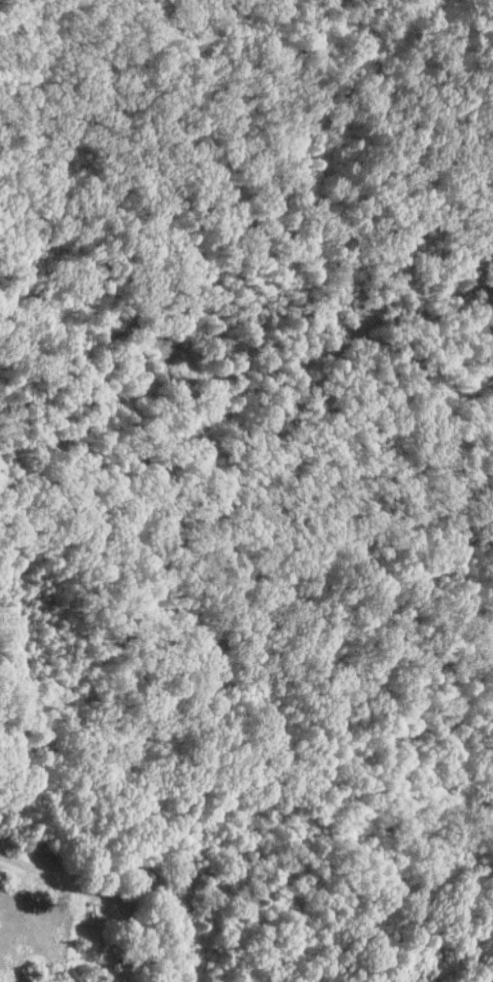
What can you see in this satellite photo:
road: (74, 881)
building: (180, 893)
building: (166, 896)

